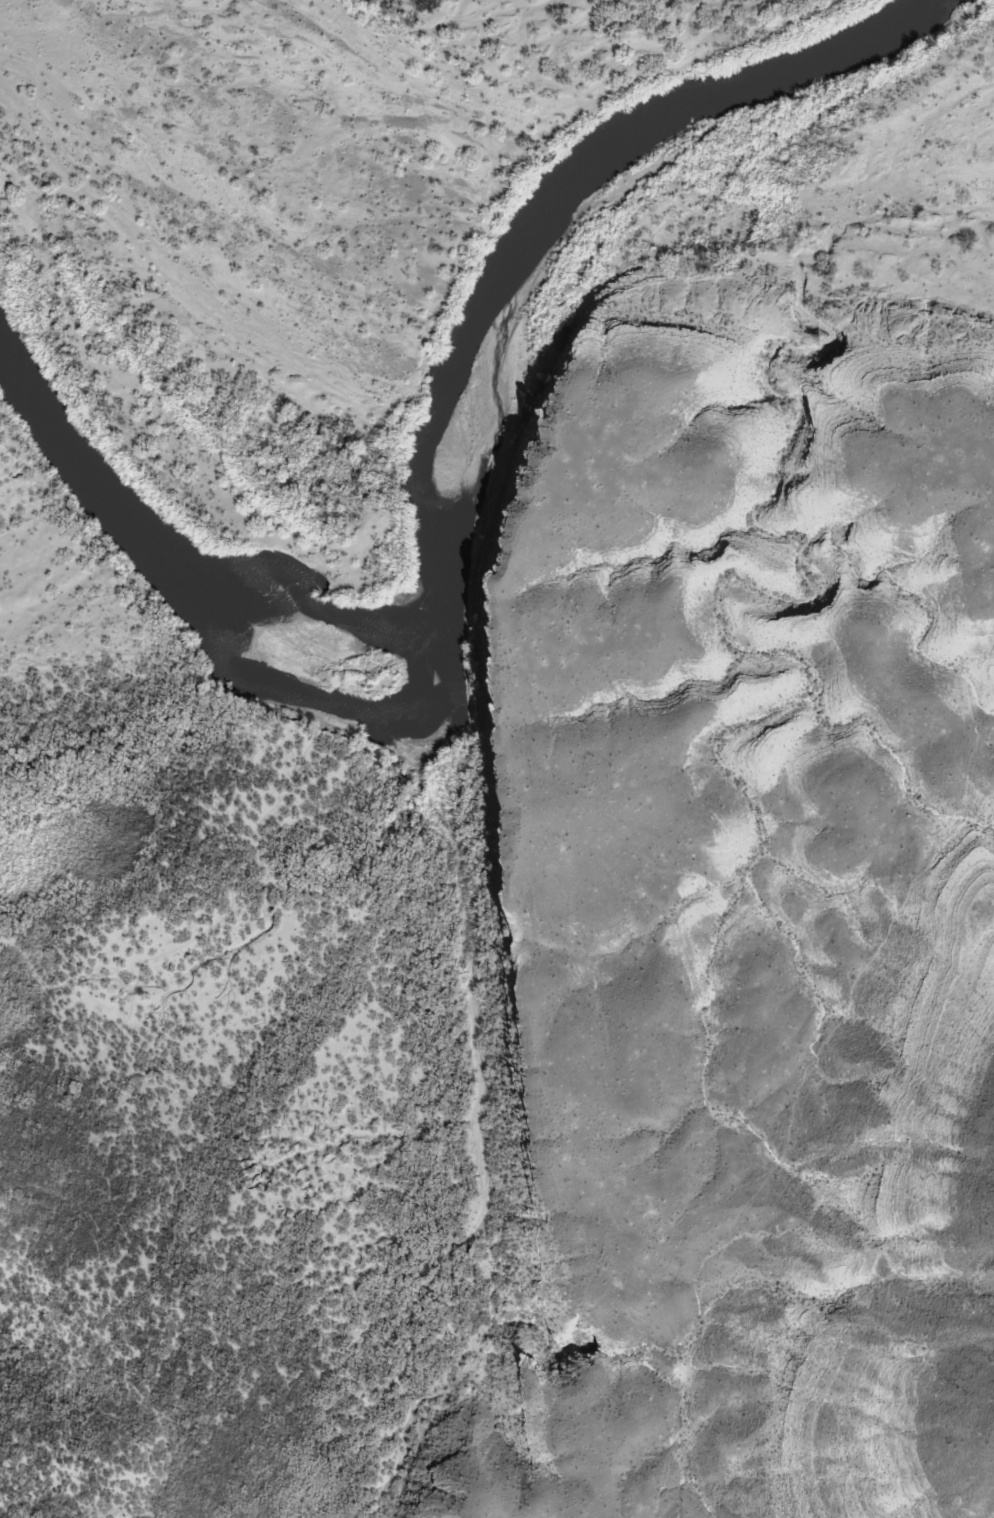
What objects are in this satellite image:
river: (454, 474)

